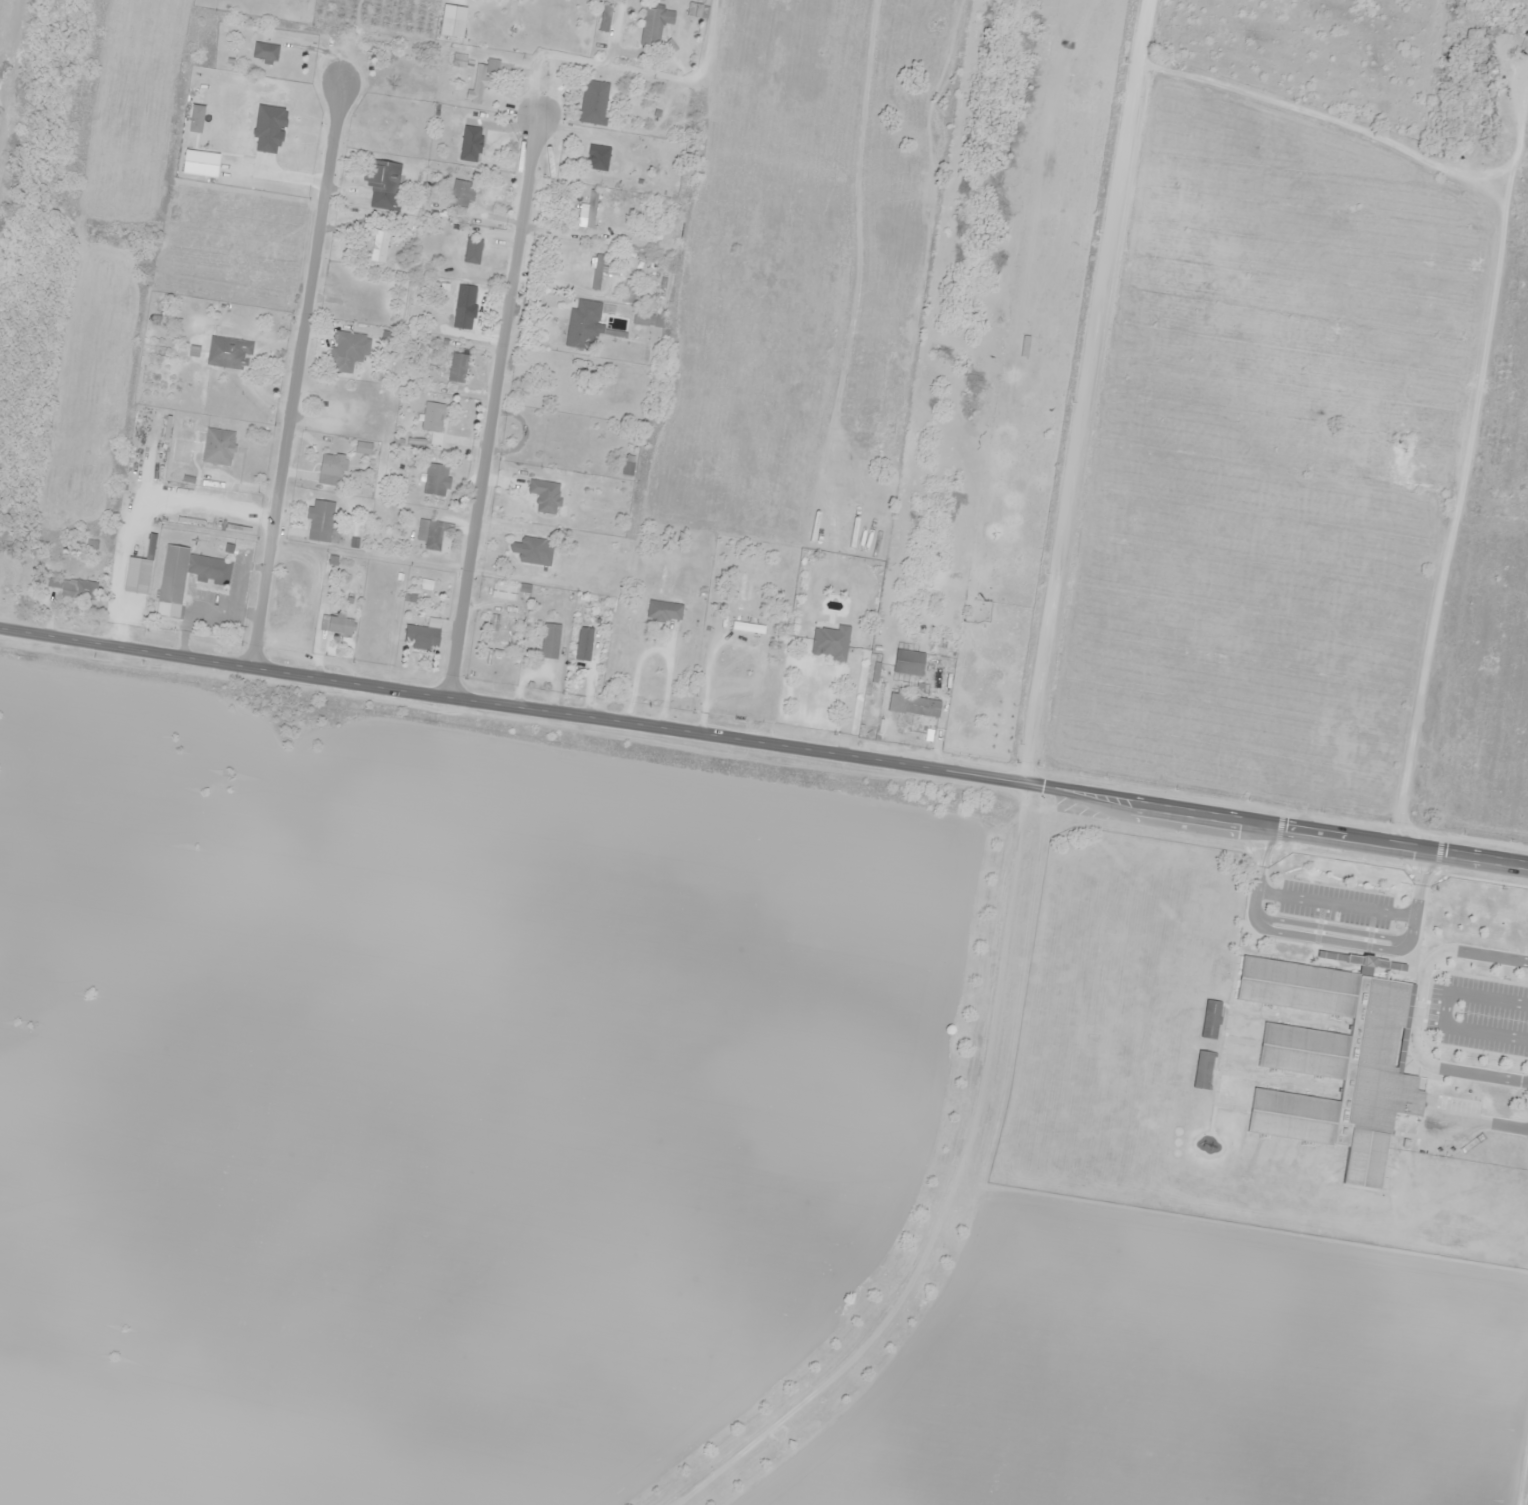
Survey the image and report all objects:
building: (520, 0)
building: (698, 10)
building: (605, 16)
building: (453, 20)
building: (654, 25)
building: (265, 52)
building: (459, 60)
building: (477, 88)
building: (594, 102)
road: (1314, 112)
building: (470, 136)
building: (253, 138)
building: (598, 157)
building: (381, 176)
building: (459, 193)
building: (378, 204)
building: (591, 208)
building: (380, 246)
building: (597, 271)
building: (463, 317)
building: (648, 317)
building: (582, 324)
building: (348, 350)
building: (229, 352)
building: (458, 367)
road: (251, 393)
building: (433, 421)
road: (1091, 422)
road: (449, 423)
building: (537, 434)
building: (218, 446)
building: (332, 469)
building: (436, 479)
building: (545, 495)
road: (1473, 518)
building: (320, 520)
building: (432, 533)
building: (531, 550)
building: (210, 569)
building: (140, 570)
building: (173, 575)
building: (73, 588)
building: (504, 591)
building: (664, 610)
building: (748, 627)
building: (499, 629)
building: (421, 636)
building: (550, 640)
building: (830, 642)
building: (584, 643)
building: (909, 662)
building: (914, 705)
road: (764, 746)
building: (1334, 1063)

